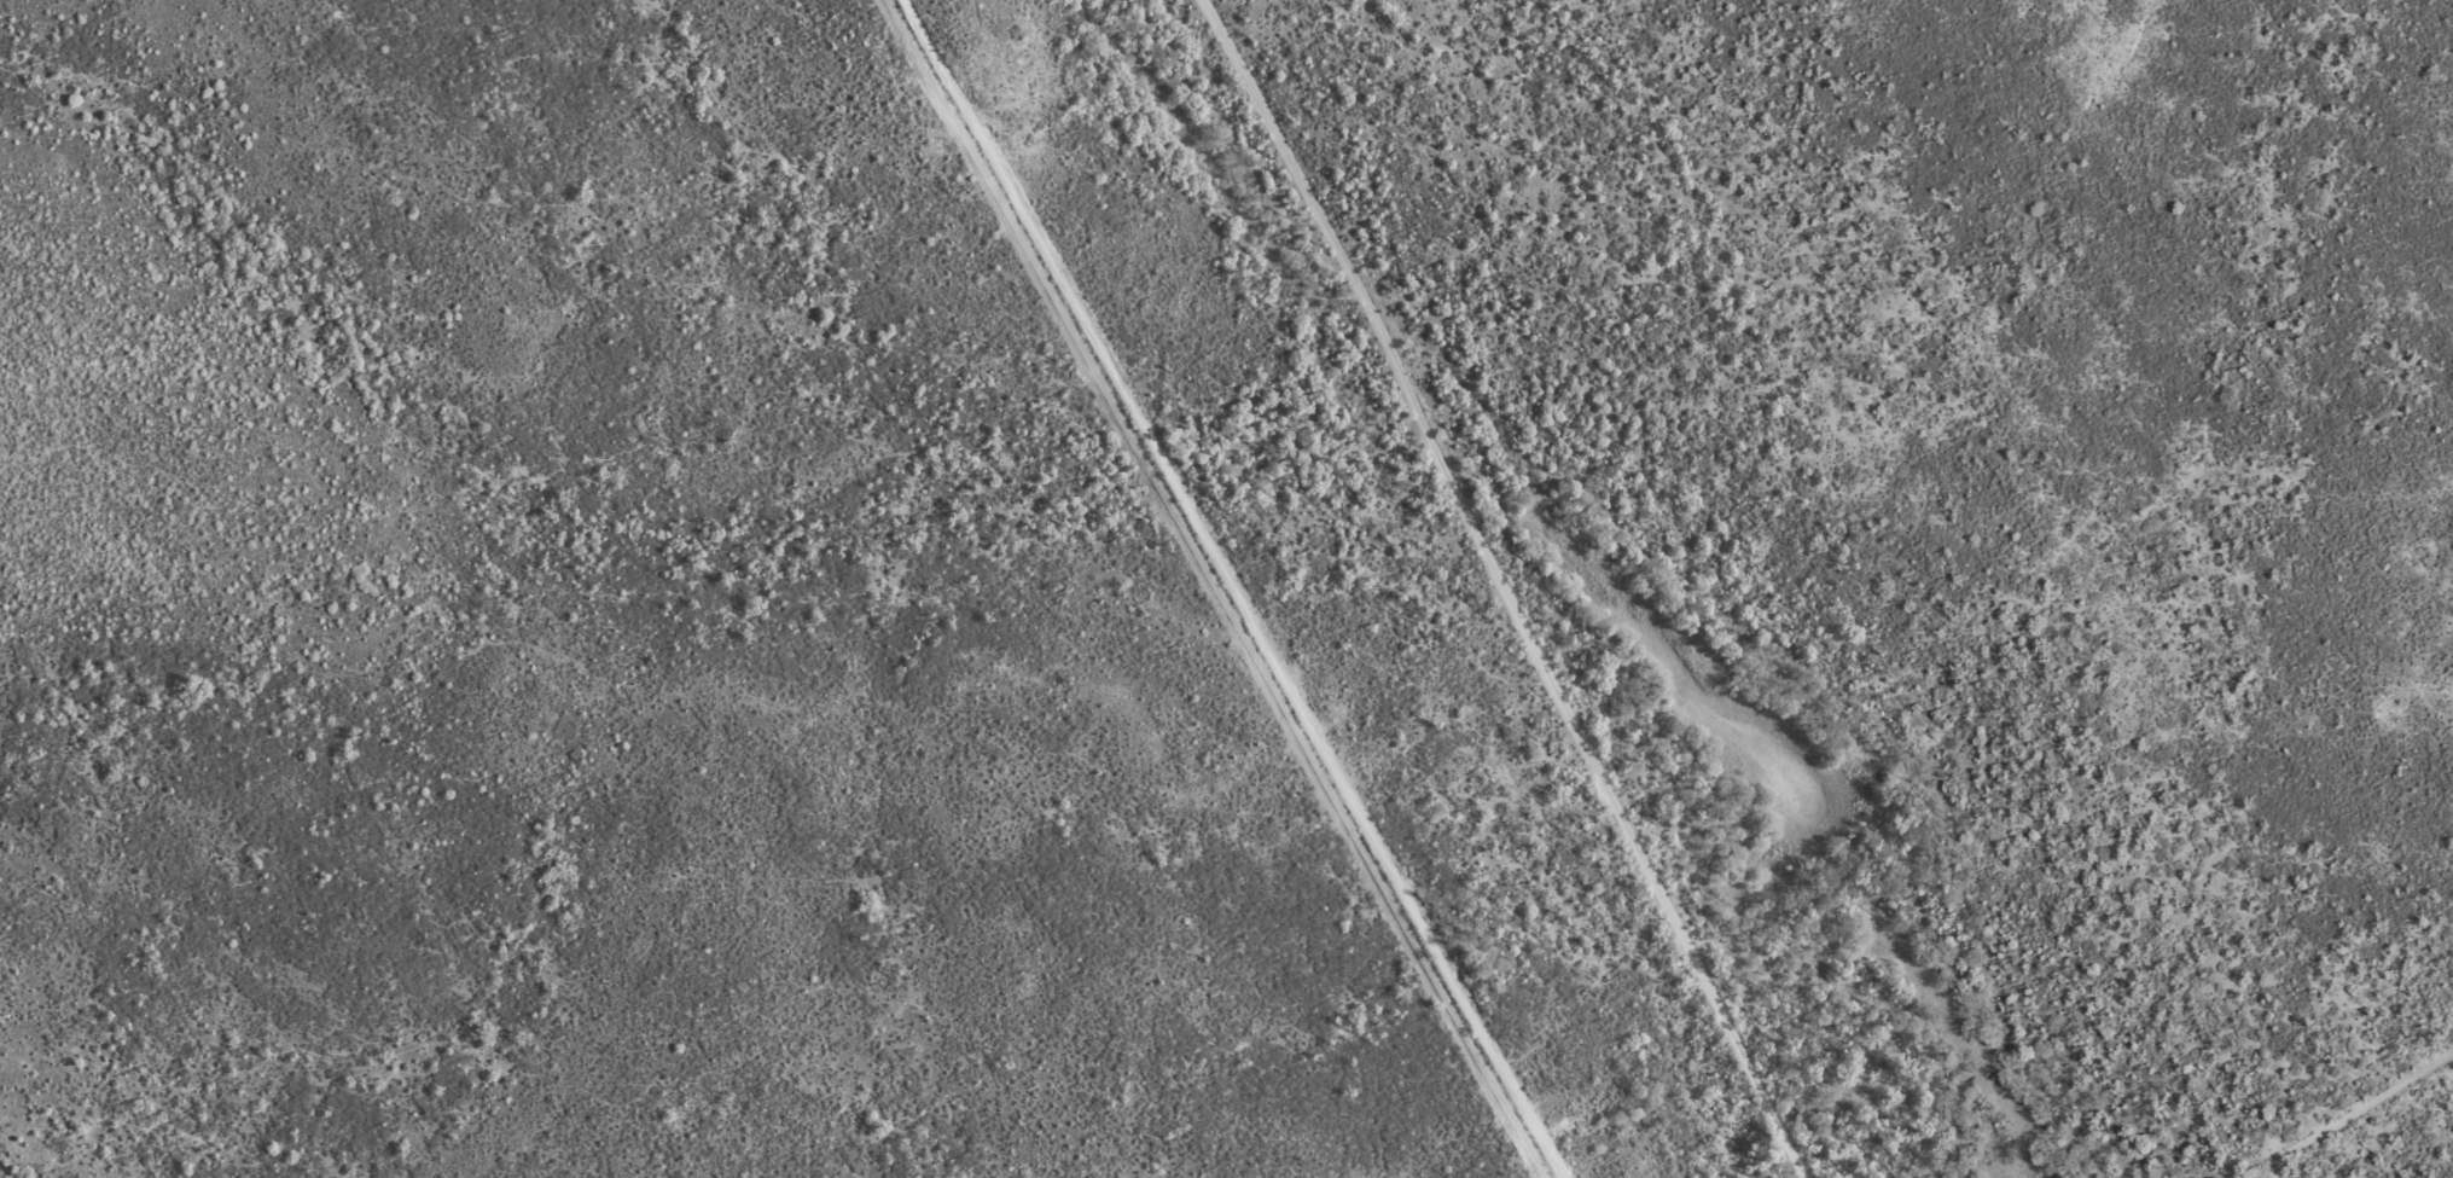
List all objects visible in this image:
road: (1510, 587)

